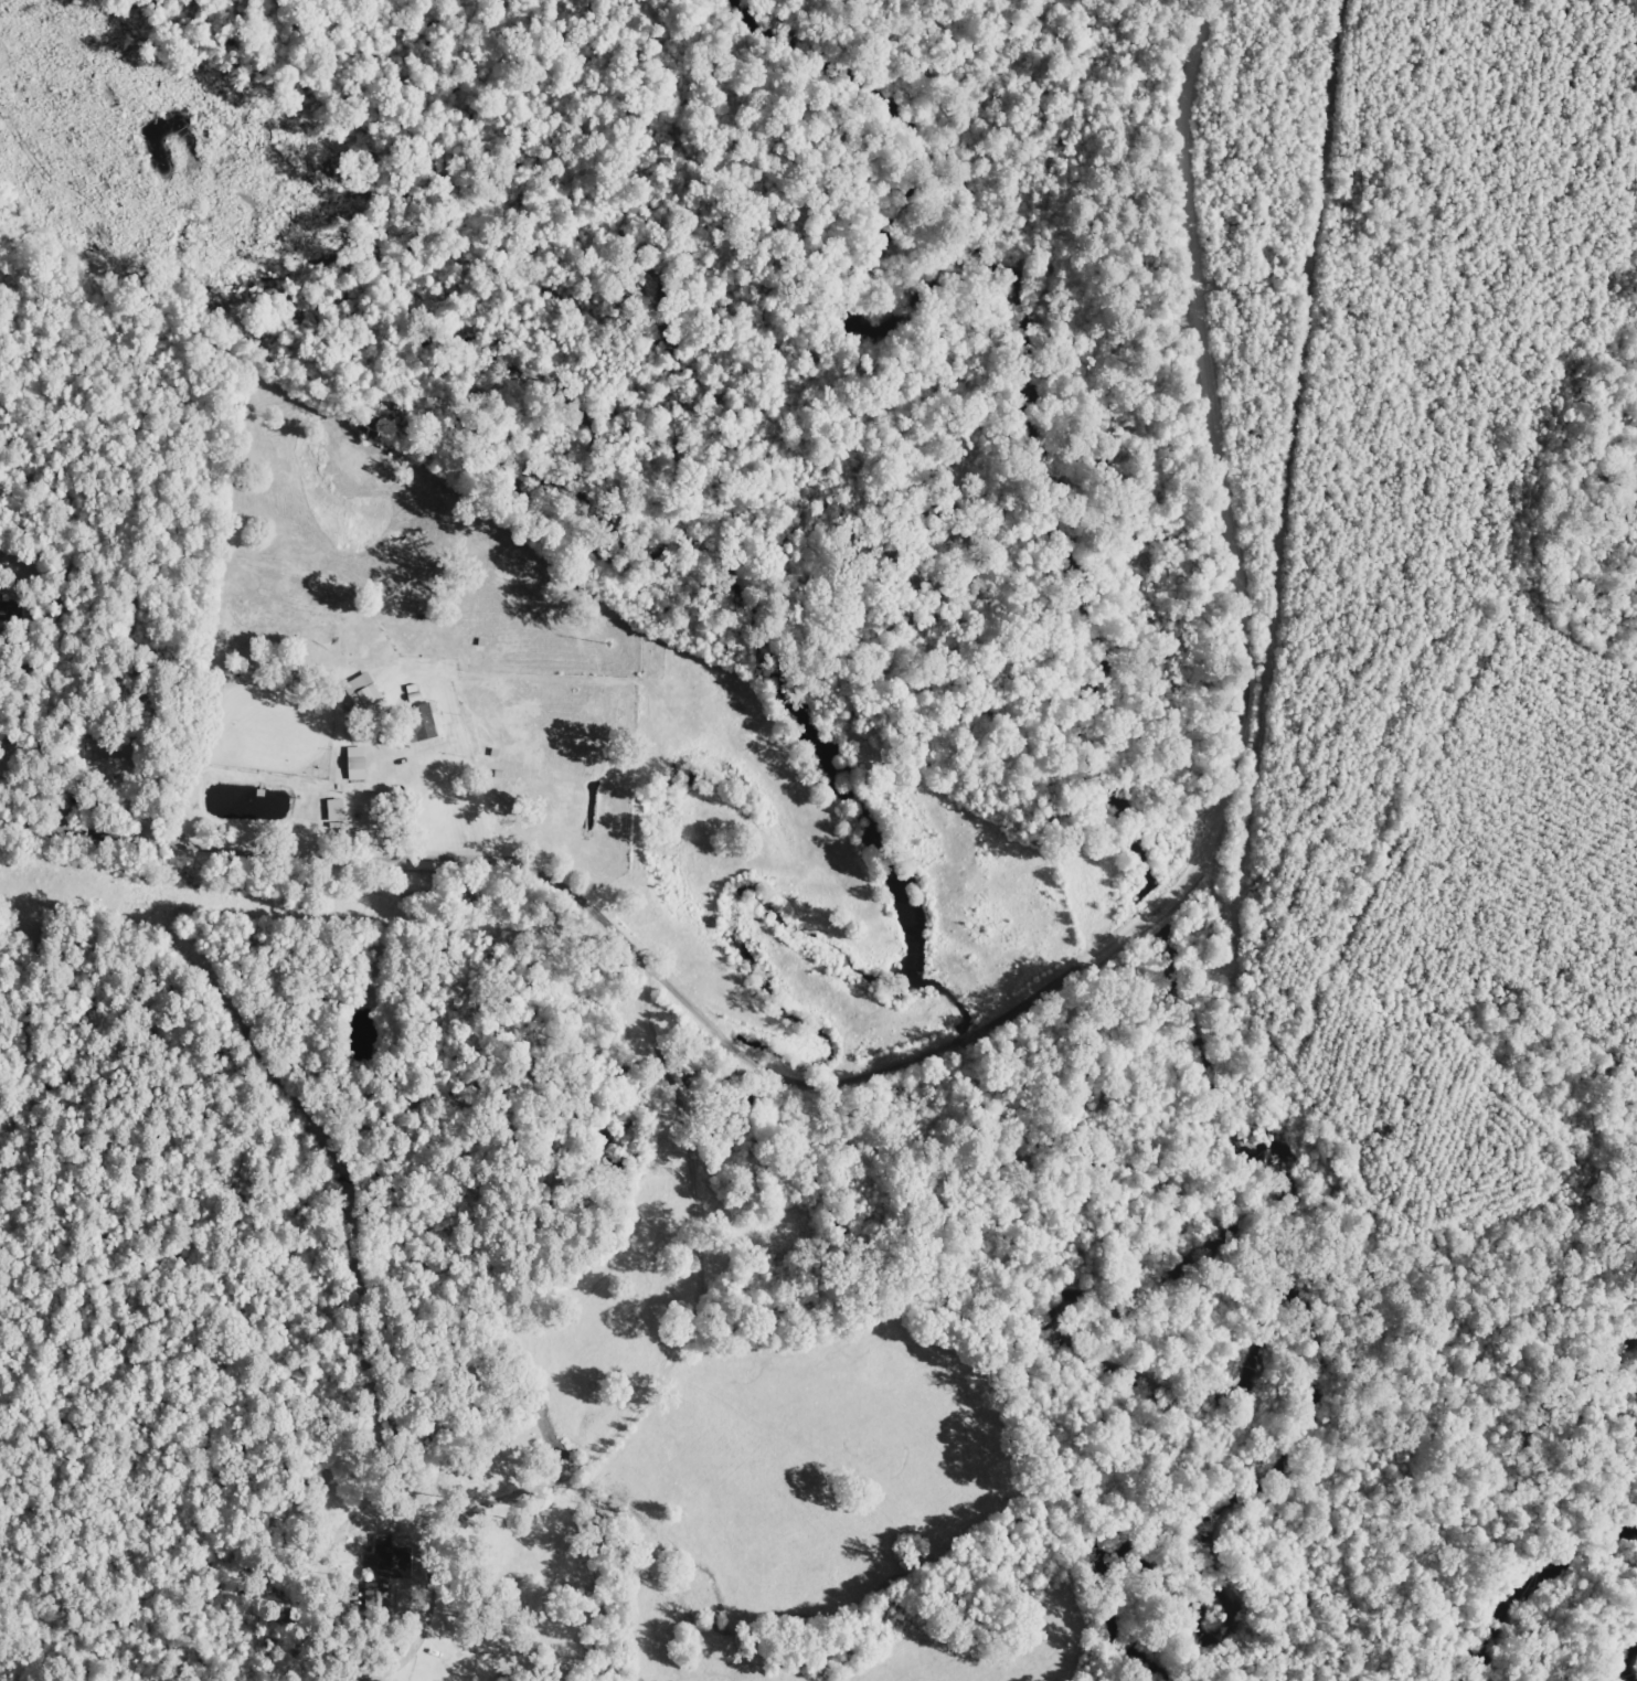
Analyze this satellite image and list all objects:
building: (354, 763)
building: (334, 809)
road: (1038, 994)
road: (678, 1305)
building: (393, 1562)

